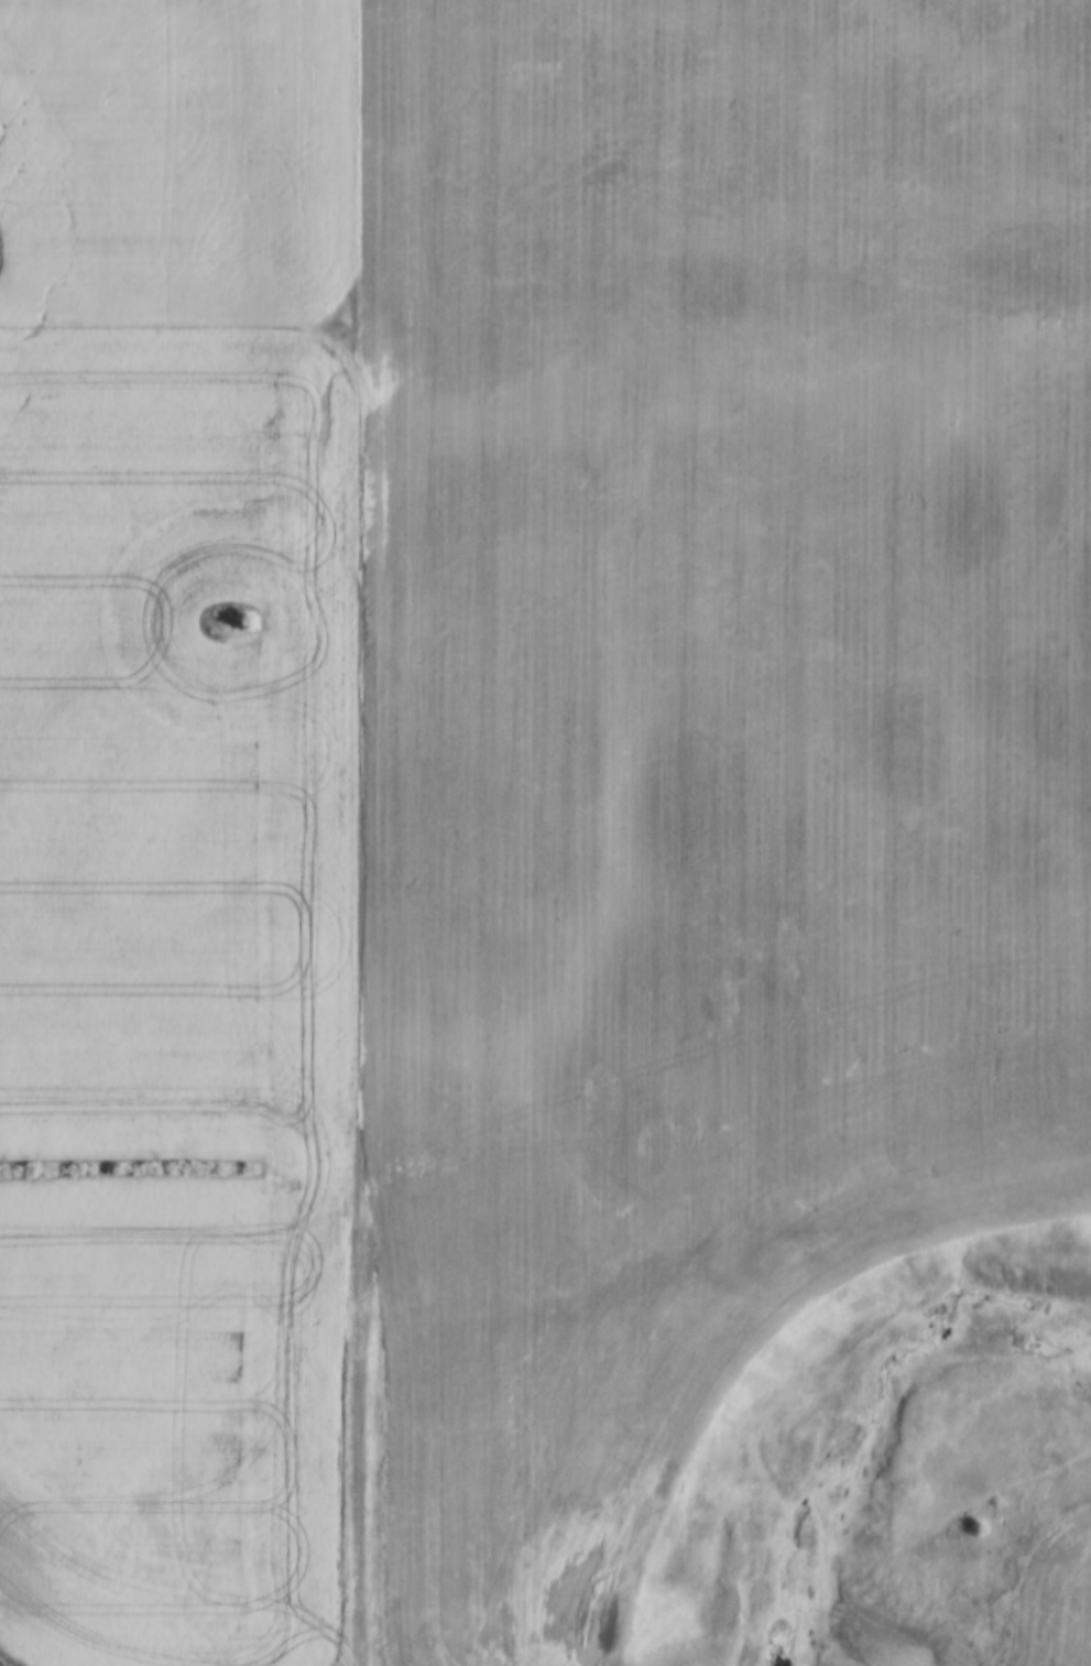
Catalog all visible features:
road: (361, 832)
road: (179, 1178)

